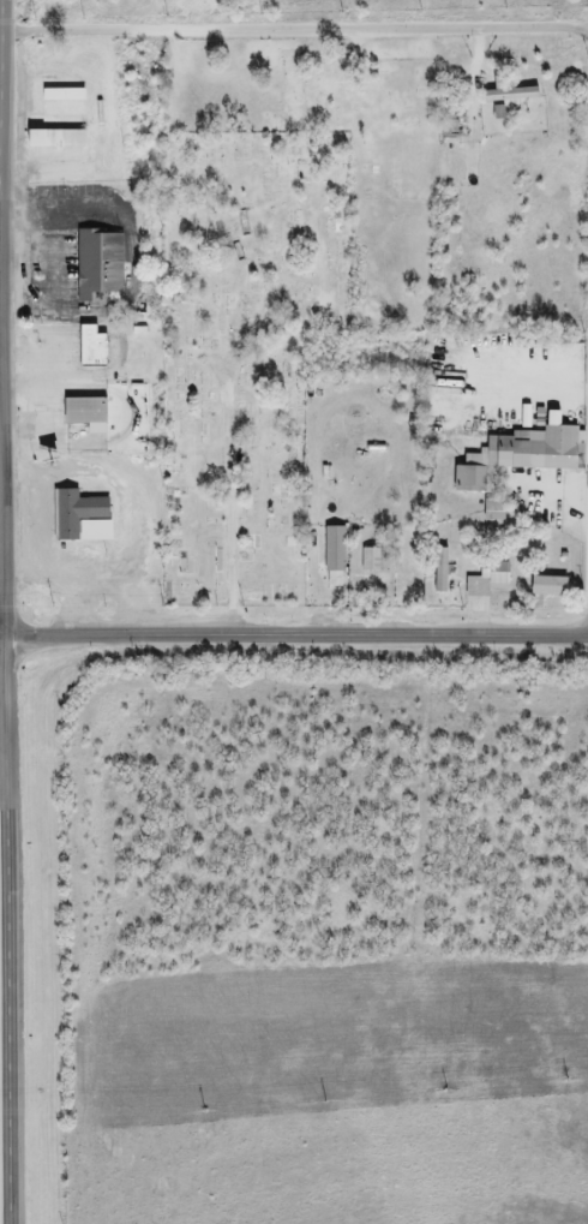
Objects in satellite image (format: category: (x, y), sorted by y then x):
road: (294, 29)
building: (509, 95)
building: (54, 139)
building: (98, 267)
building: (90, 350)
park: (242, 356)
building: (83, 412)
building: (536, 448)
building: (467, 479)
road: (232, 502)
building: (493, 509)
building: (80, 518)
building: (334, 561)
building: (371, 561)
building: (487, 580)
building: (546, 586)
road: (293, 635)
road: (6, 943)

